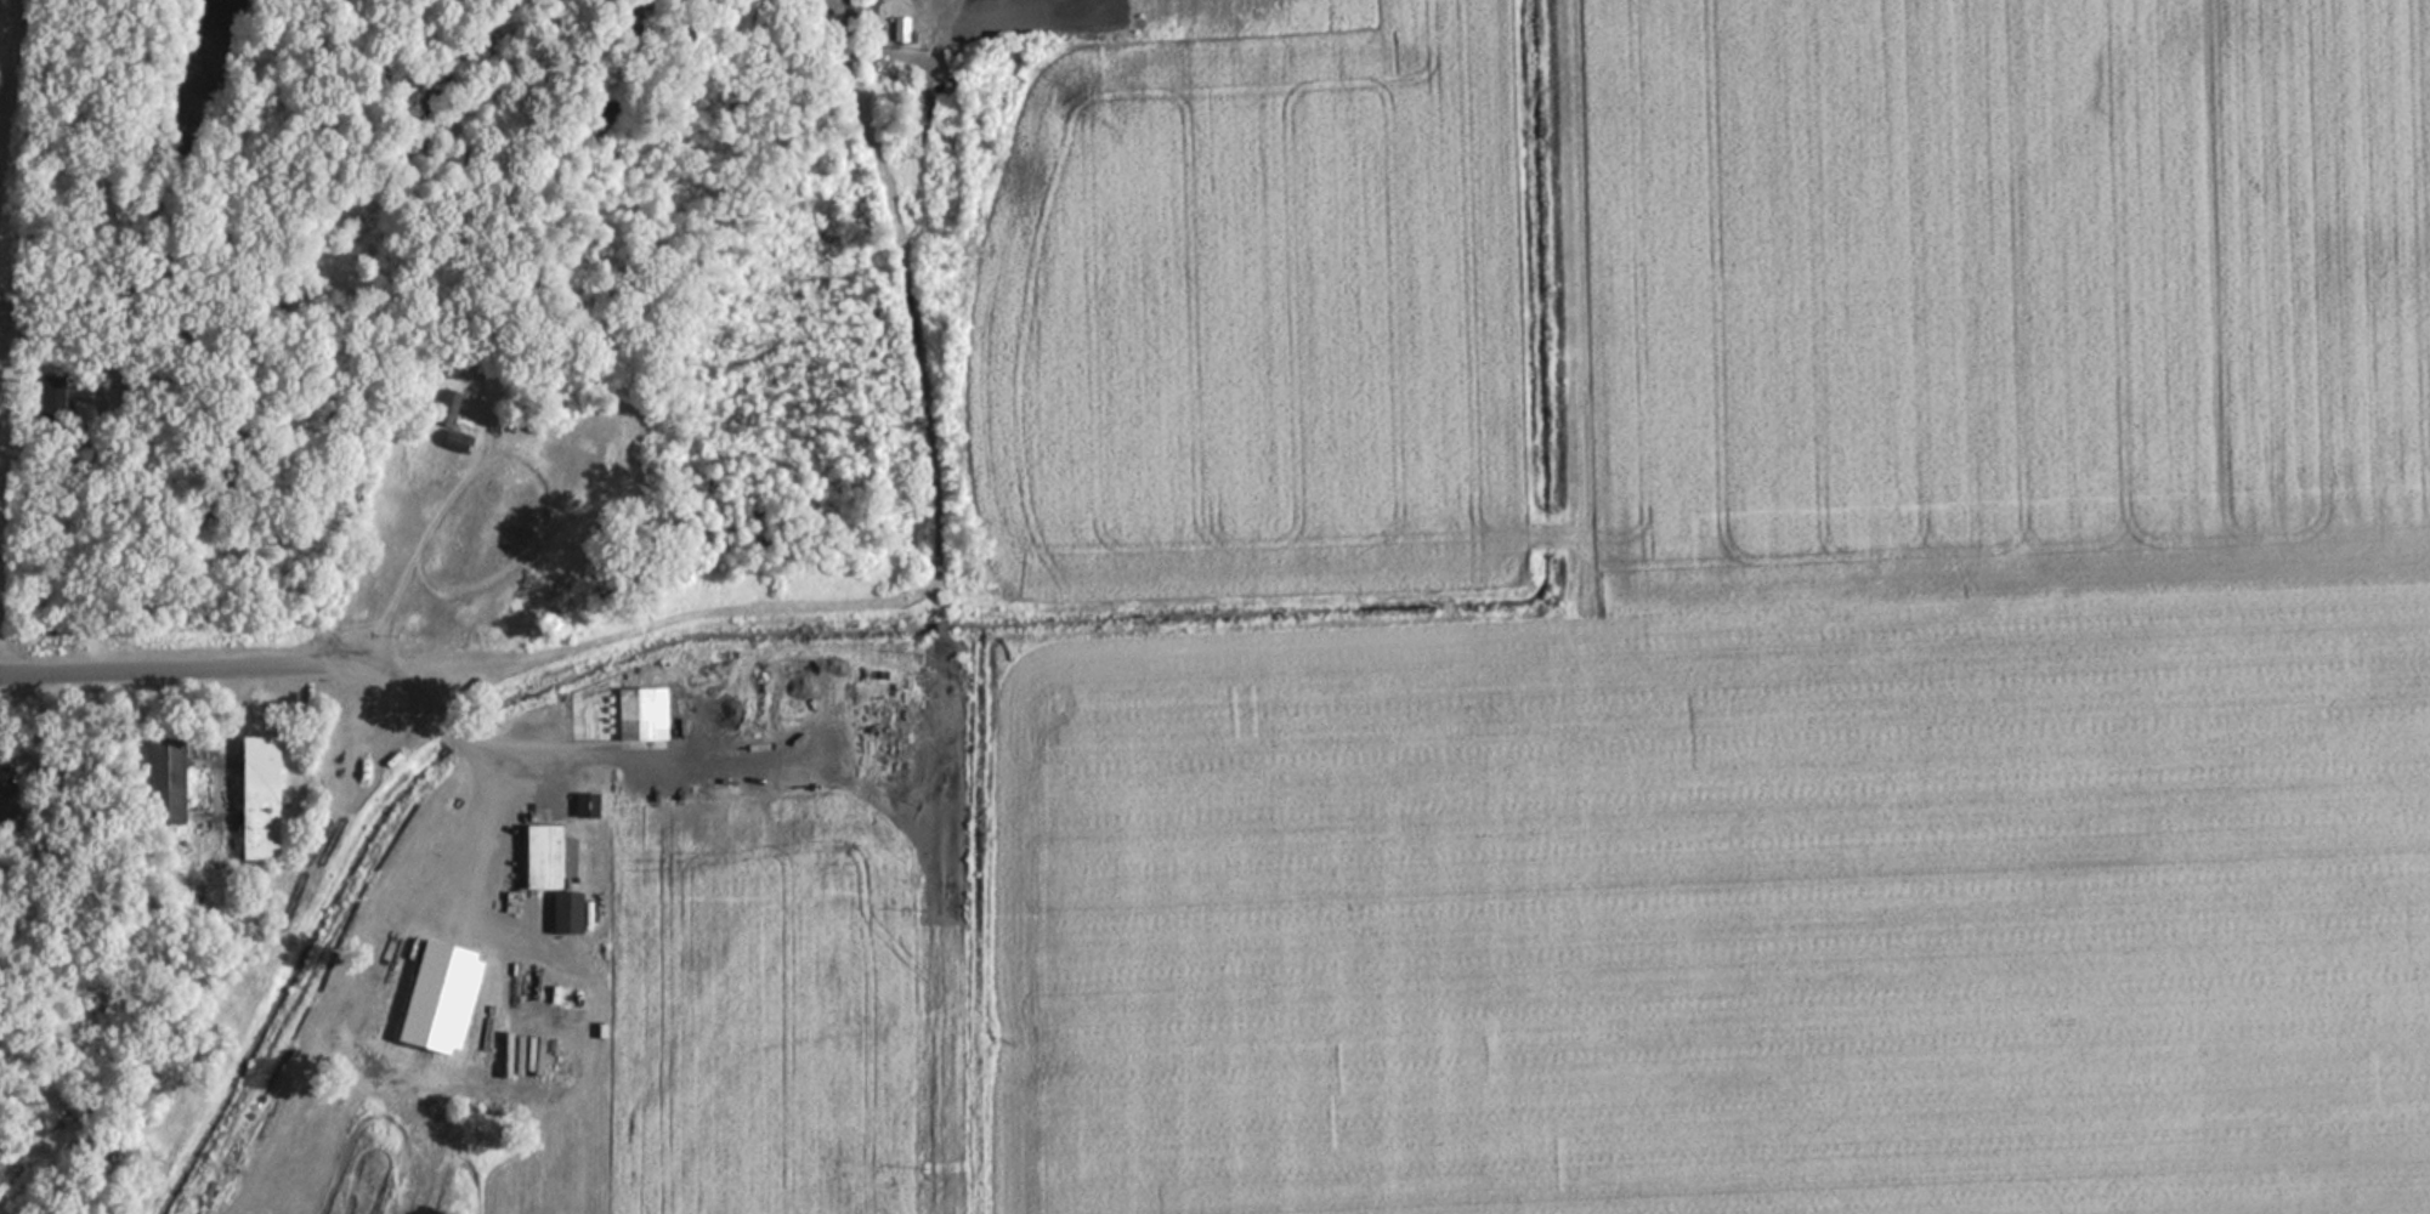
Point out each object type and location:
building: (900, 34)
road: (9, 66)
building: (89, 312)
building: (56, 395)
building: (446, 407)
building: (452, 441)
road: (508, 458)
road: (183, 663)
building: (634, 714)
building: (164, 771)
road: (494, 793)
building: (255, 798)
building: (584, 805)
building: (545, 856)
building: (565, 913)

